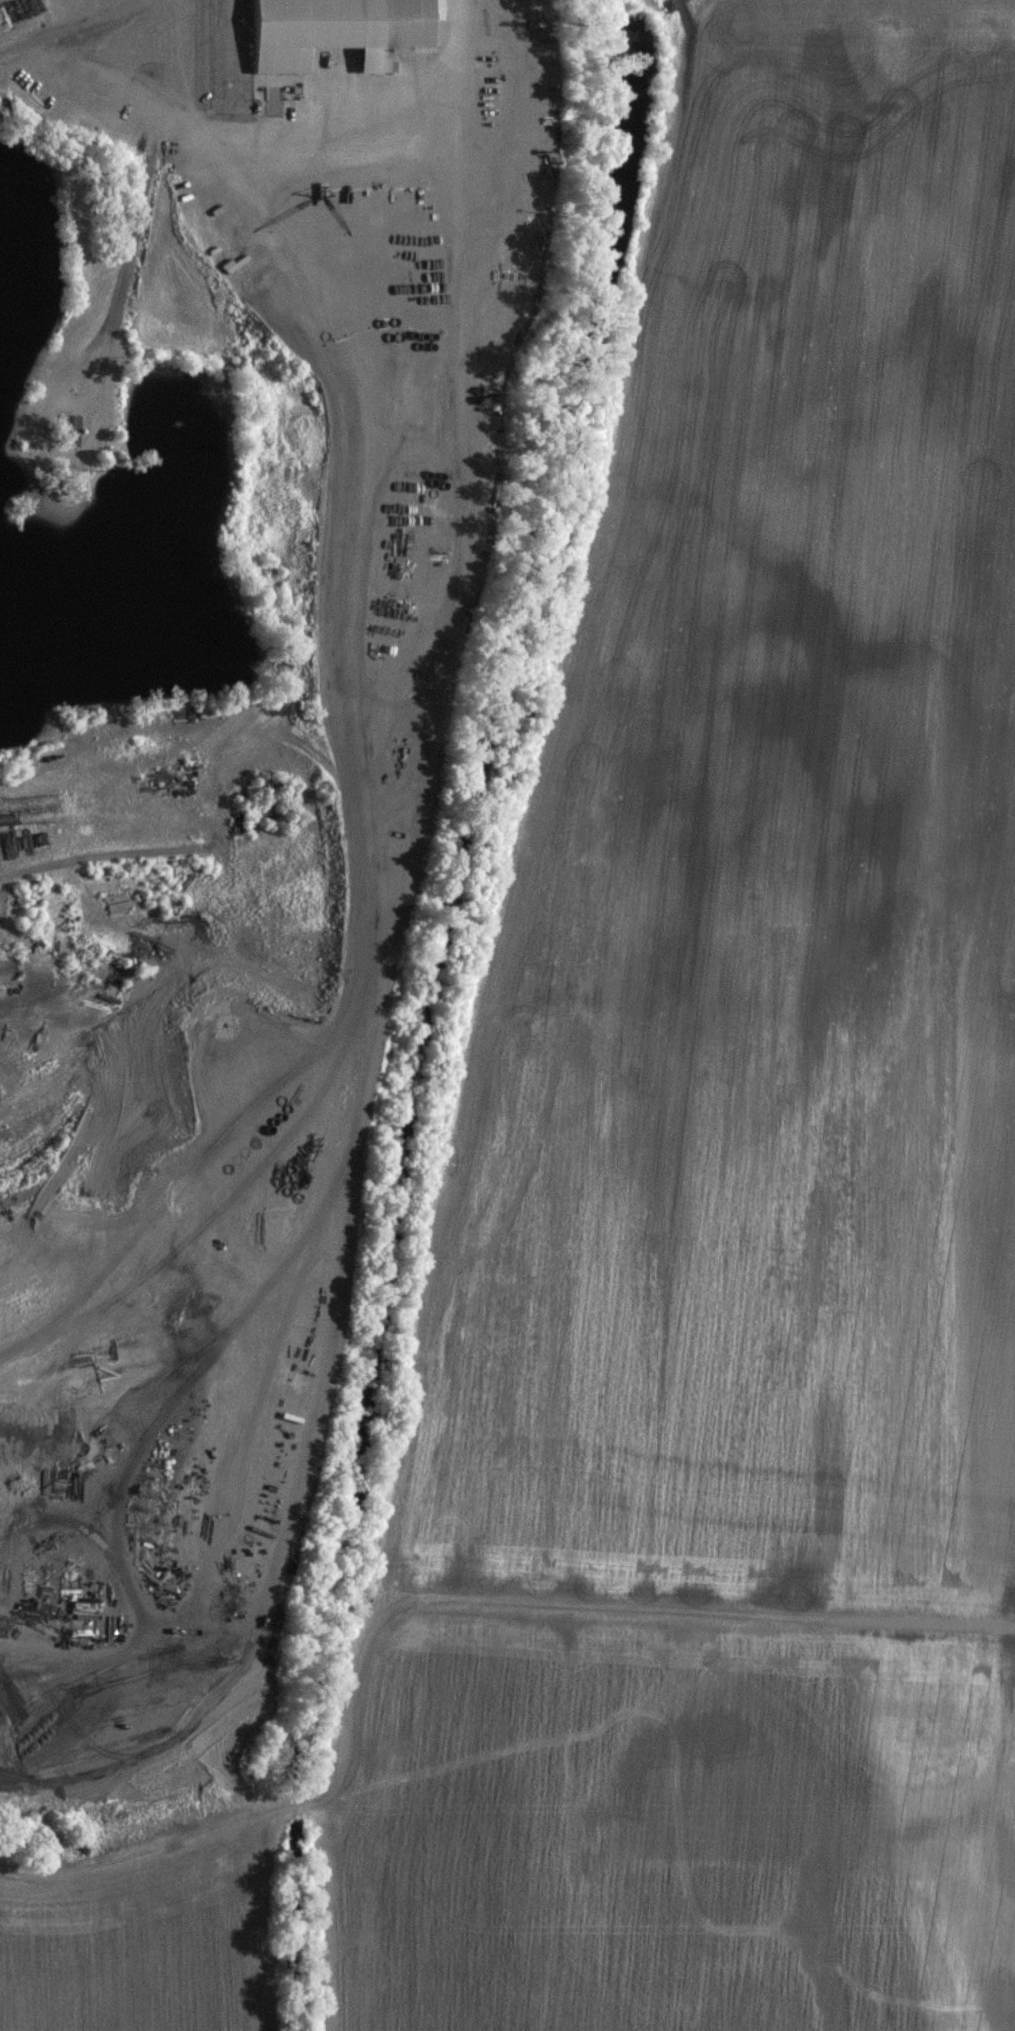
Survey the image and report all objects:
building: (336, 30)
road: (64, 32)
road: (410, 137)
road: (103, 368)
road: (377, 486)
road: (184, 979)

